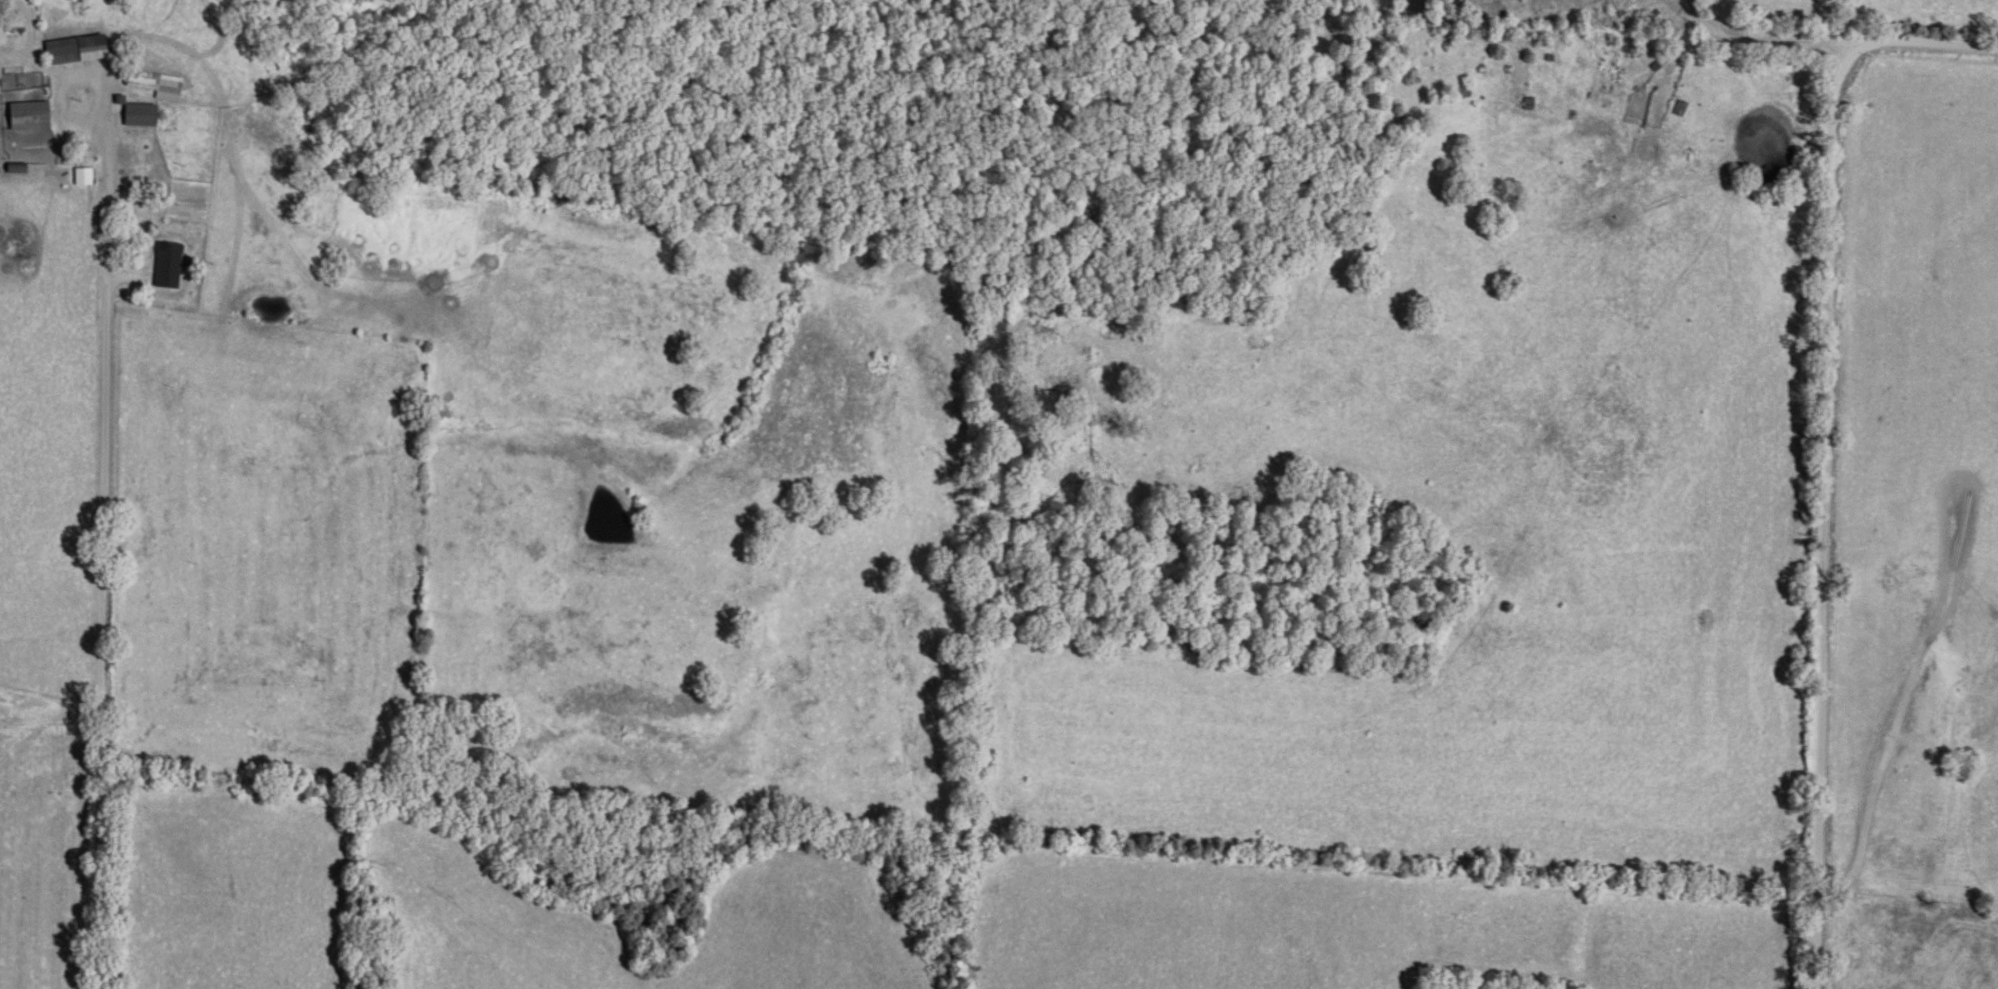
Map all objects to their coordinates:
building: (80, 48)
building: (158, 83)
building: (32, 114)
building: (143, 114)
building: (85, 176)
building: (162, 264)
road: (1872, 469)
road: (69, 598)

